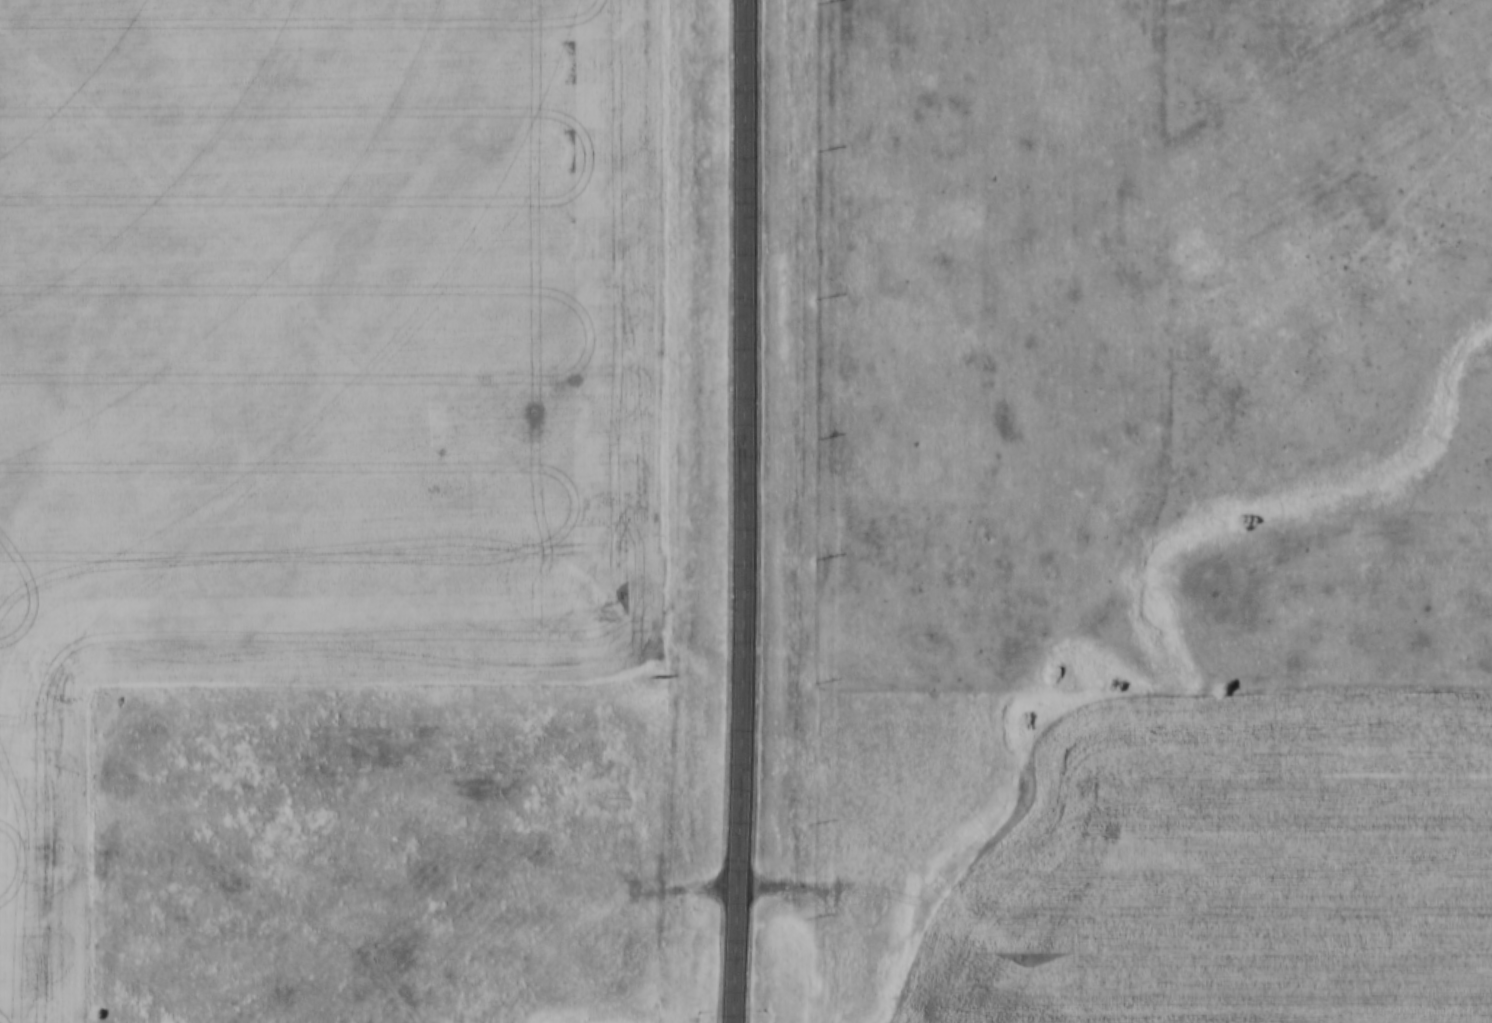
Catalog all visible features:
crop: (309, 371)
road: (742, 511)
crop: (1233, 871)

